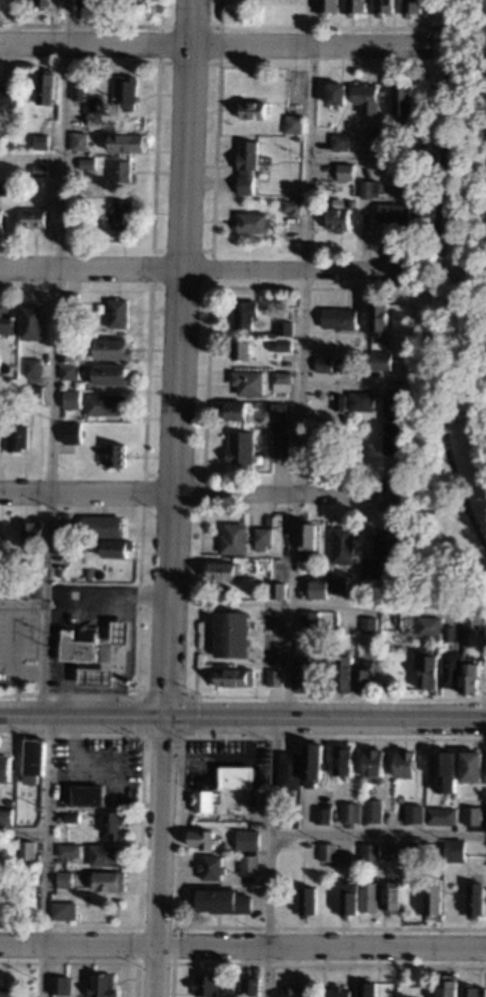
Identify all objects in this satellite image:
building: (42, 2)
building: (326, 7)
building: (355, 7)
building: (381, 7)
building: (410, 7)
road: (198, 26)
road: (326, 27)
road: (215, 45)
building: (45, 87)
building: (78, 91)
building: (124, 91)
building: (335, 93)
building: (6, 97)
building: (366, 97)
building: (403, 101)
building: (251, 109)
building: (293, 124)
building: (279, 126)
building: (375, 136)
building: (90, 137)
building: (296, 138)
building: (390, 139)
building: (78, 140)
building: (40, 141)
building: (338, 141)
building: (126, 142)
road: (30, 156)
road: (361, 156)
building: (86, 163)
building: (246, 165)
building: (38, 170)
building: (344, 171)
building: (119, 172)
building: (369, 188)
building: (290, 206)
building: (122, 211)
building: (393, 212)
building: (0, 217)
building: (33, 217)
building: (337, 219)
building: (252, 223)
building: (71, 228)
road: (151, 250)
road: (195, 269)
road: (430, 279)
road: (319, 288)
building: (69, 300)
building: (117, 313)
building: (243, 313)
building: (378, 316)
building: (338, 318)
park: (450, 319)
building: (6, 320)
building: (31, 322)
building: (283, 328)
building: (270, 334)
building: (282, 345)
building: (111, 348)
building: (239, 350)
building: (65, 353)
road: (52, 357)
road: (176, 357)
road: (300, 358)
building: (379, 360)
building: (323, 364)
building: (31, 367)
building: (68, 372)
building: (111, 374)
building: (281, 381)
building: (247, 382)
road: (349, 383)
building: (33, 394)
building: (359, 400)
building: (338, 402)
building: (76, 404)
building: (104, 404)
building: (278, 408)
building: (233, 409)
building: (393, 424)
building: (269, 432)
building: (70, 433)
building: (16, 437)
building: (319, 442)
building: (280, 445)
building: (65, 447)
building: (239, 447)
building: (115, 455)
road: (190, 493)
road: (420, 510)
building: (101, 526)
building: (65, 528)
building: (31, 531)
building: (262, 535)
building: (307, 535)
building: (232, 539)
building: (386, 543)
building: (64, 545)
building: (341, 545)
building: (116, 547)
building: (370, 568)
building: (222, 571)
building: (57, 572)
building: (337, 584)
building: (312, 585)
building: (276, 589)
road: (22, 603)
road: (387, 606)
building: (309, 620)
building: (471, 621)
building: (13, 622)
building: (407, 622)
building: (368, 624)
building: (427, 626)
building: (120, 631)
building: (231, 633)
building: (448, 633)
building: (78, 646)
building: (385, 650)
building: (450, 669)
building: (5, 671)
building: (427, 671)
building: (302, 672)
park: (485, 672)
building: (343, 673)
building: (469, 674)
building: (95, 677)
building: (235, 677)
building: (274, 678)
building: (364, 678)
road: (176, 695)
road: (336, 697)
road: (81, 715)
traffic signals: (163, 716)
road: (324, 717)
building: (37, 756)
building: (345, 759)
building: (407, 763)
building: (315, 764)
building: (377, 764)
building: (474, 766)
building: (6, 768)
building: (292, 770)
building: (447, 770)
building: (239, 776)
building: (89, 795)
building: (260, 799)
building: (205, 800)
building: (13, 802)
building: (352, 812)
building: (375, 813)
building: (417, 813)
building: (30, 815)
building: (325, 815)
building: (443, 815)
building: (7, 816)
building: (475, 816)
building: (74, 817)
building: (292, 818)
building: (114, 824)
road: (23, 831)
road: (378, 834)
building: (259, 836)
building: (204, 839)
building: (247, 839)
building: (29, 850)
building: (71, 850)
building: (414, 850)
building: (457, 850)
building: (330, 851)
building: (373, 852)
building: (396, 853)
building: (109, 854)
road: (45, 855)
road: (157, 856)
road: (269, 857)
building: (251, 865)
building: (214, 867)
building: (67, 879)
building: (111, 880)
building: (7, 897)
building: (372, 897)
building: (394, 897)
building: (436, 898)
building: (352, 899)
building: (477, 900)
building: (226, 901)
building: (310, 901)
building: (66, 911)
road: (243, 944)
building: (62, 985)
building: (208, 985)
building: (450, 985)
building: (105, 986)
building: (252, 987)
building: (369, 989)
building: (296, 991)
building: (474, 991)
building: (10, 992)
building: (340, 992)

